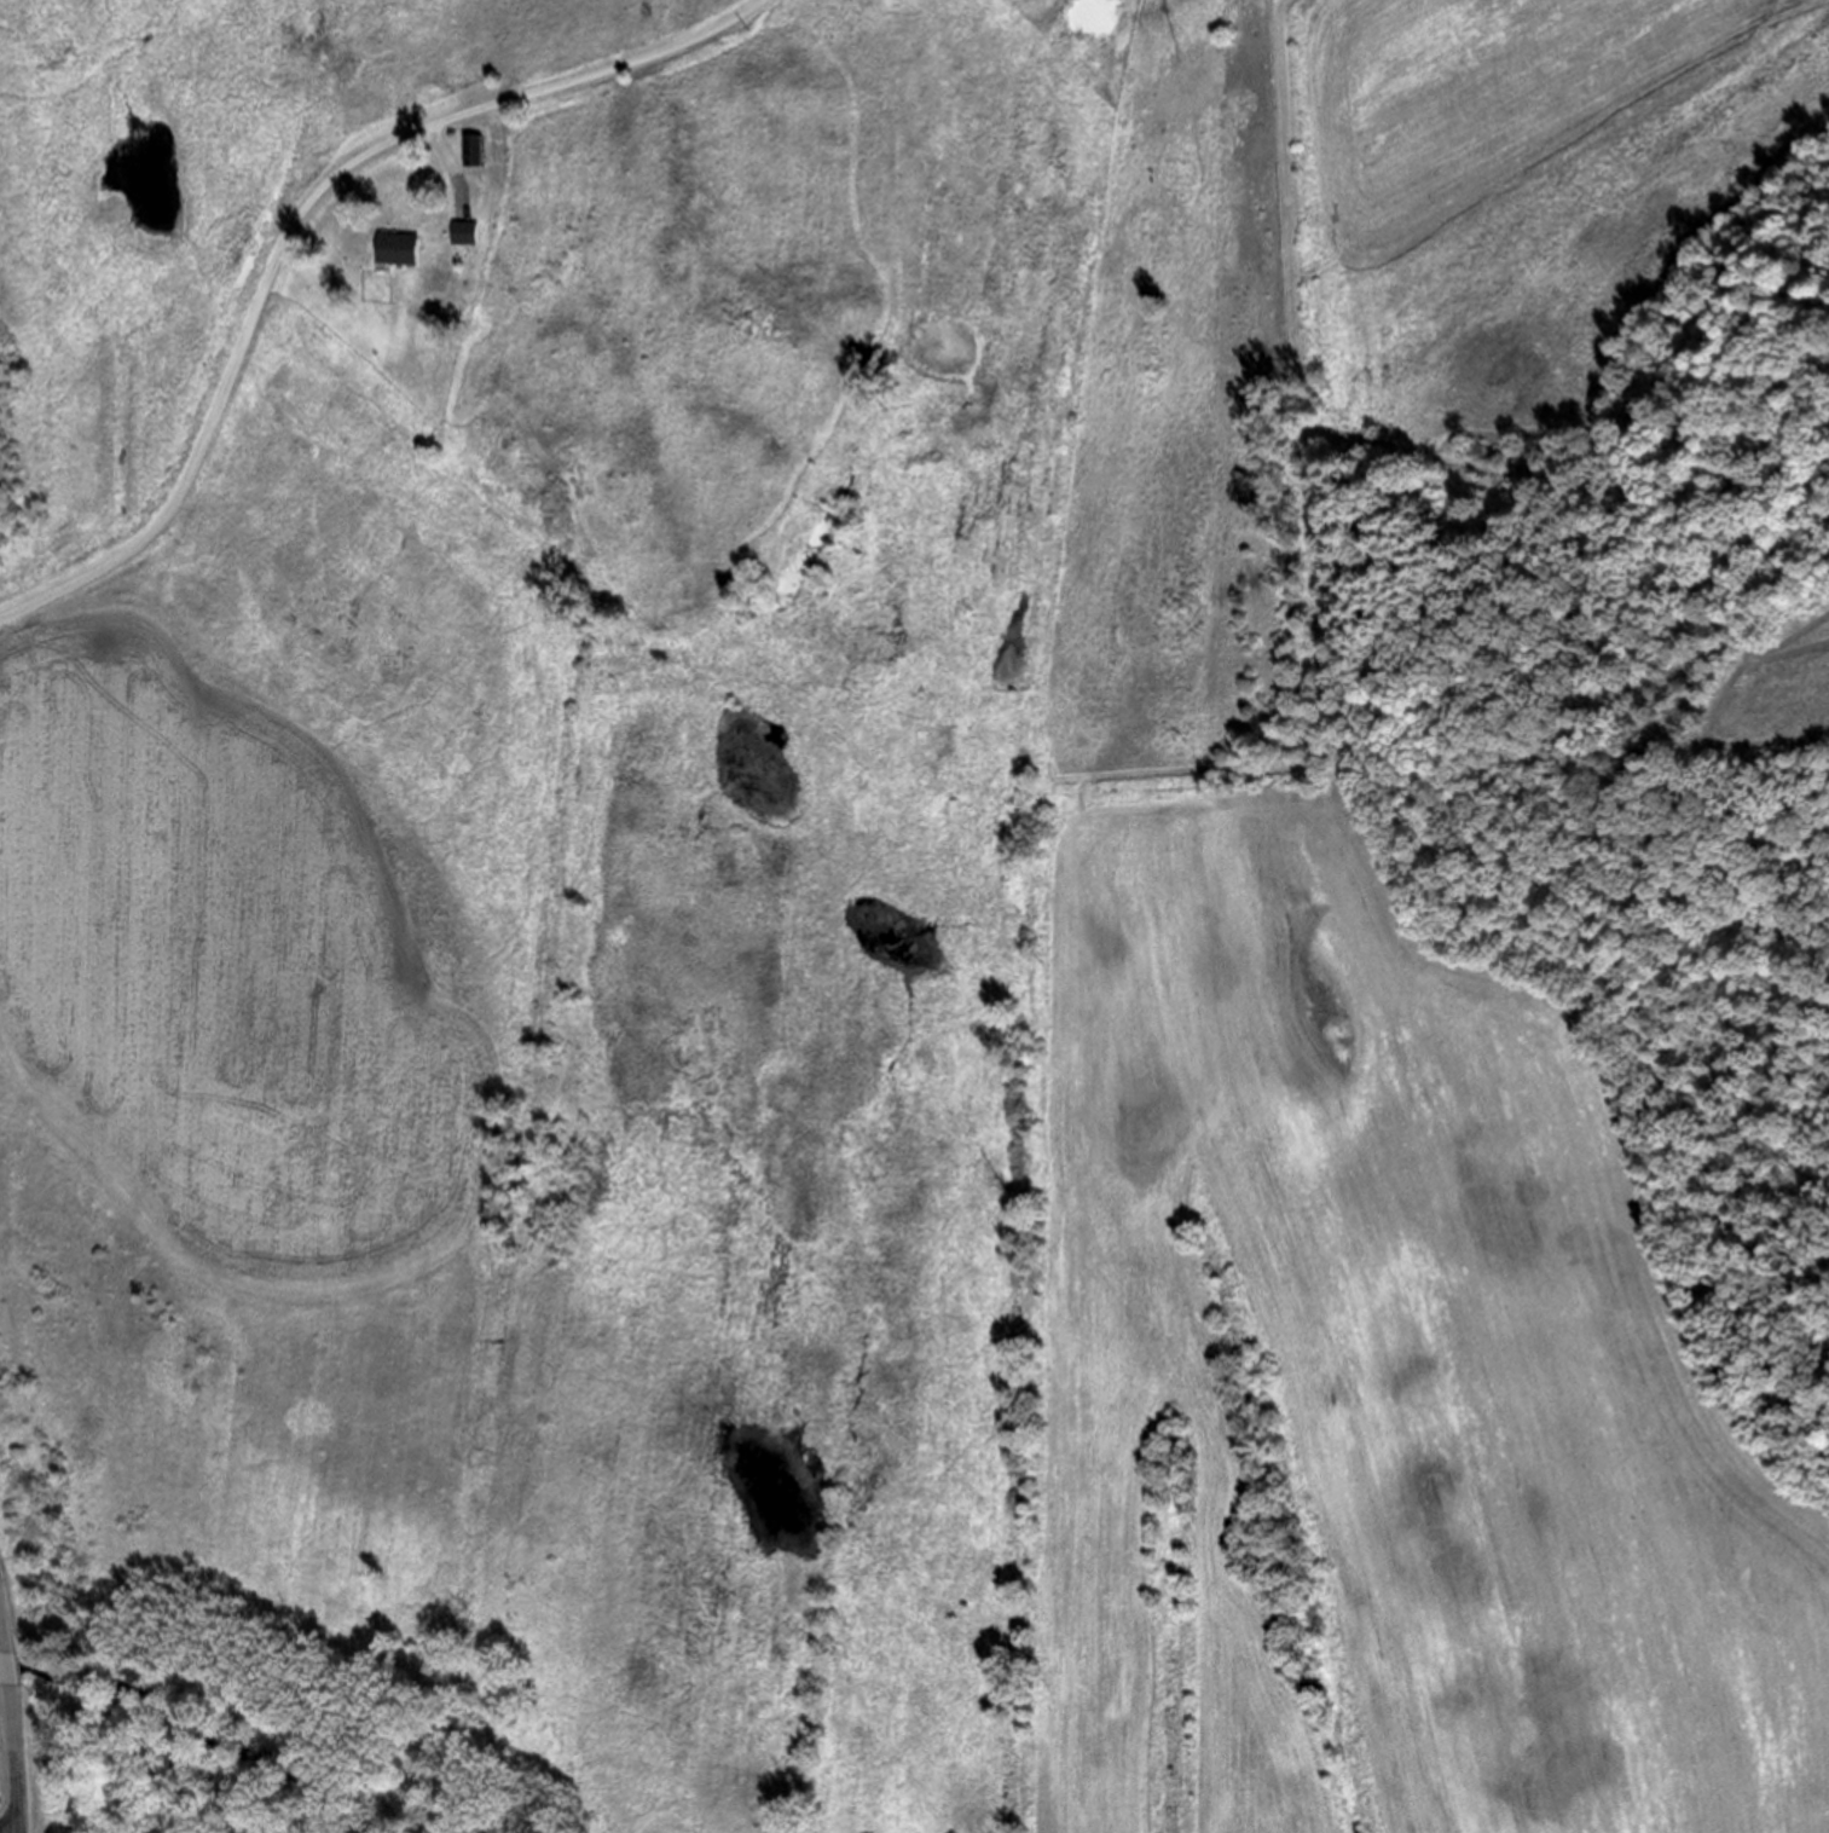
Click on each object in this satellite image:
building: (474, 151)
building: (484, 152)
road: (457, 168)
road: (303, 227)
building: (474, 236)
building: (407, 253)
road: (1, 1642)
river: (15, 1667)
road: (5, 1669)
river: (202, 1723)
road: (13, 1759)

